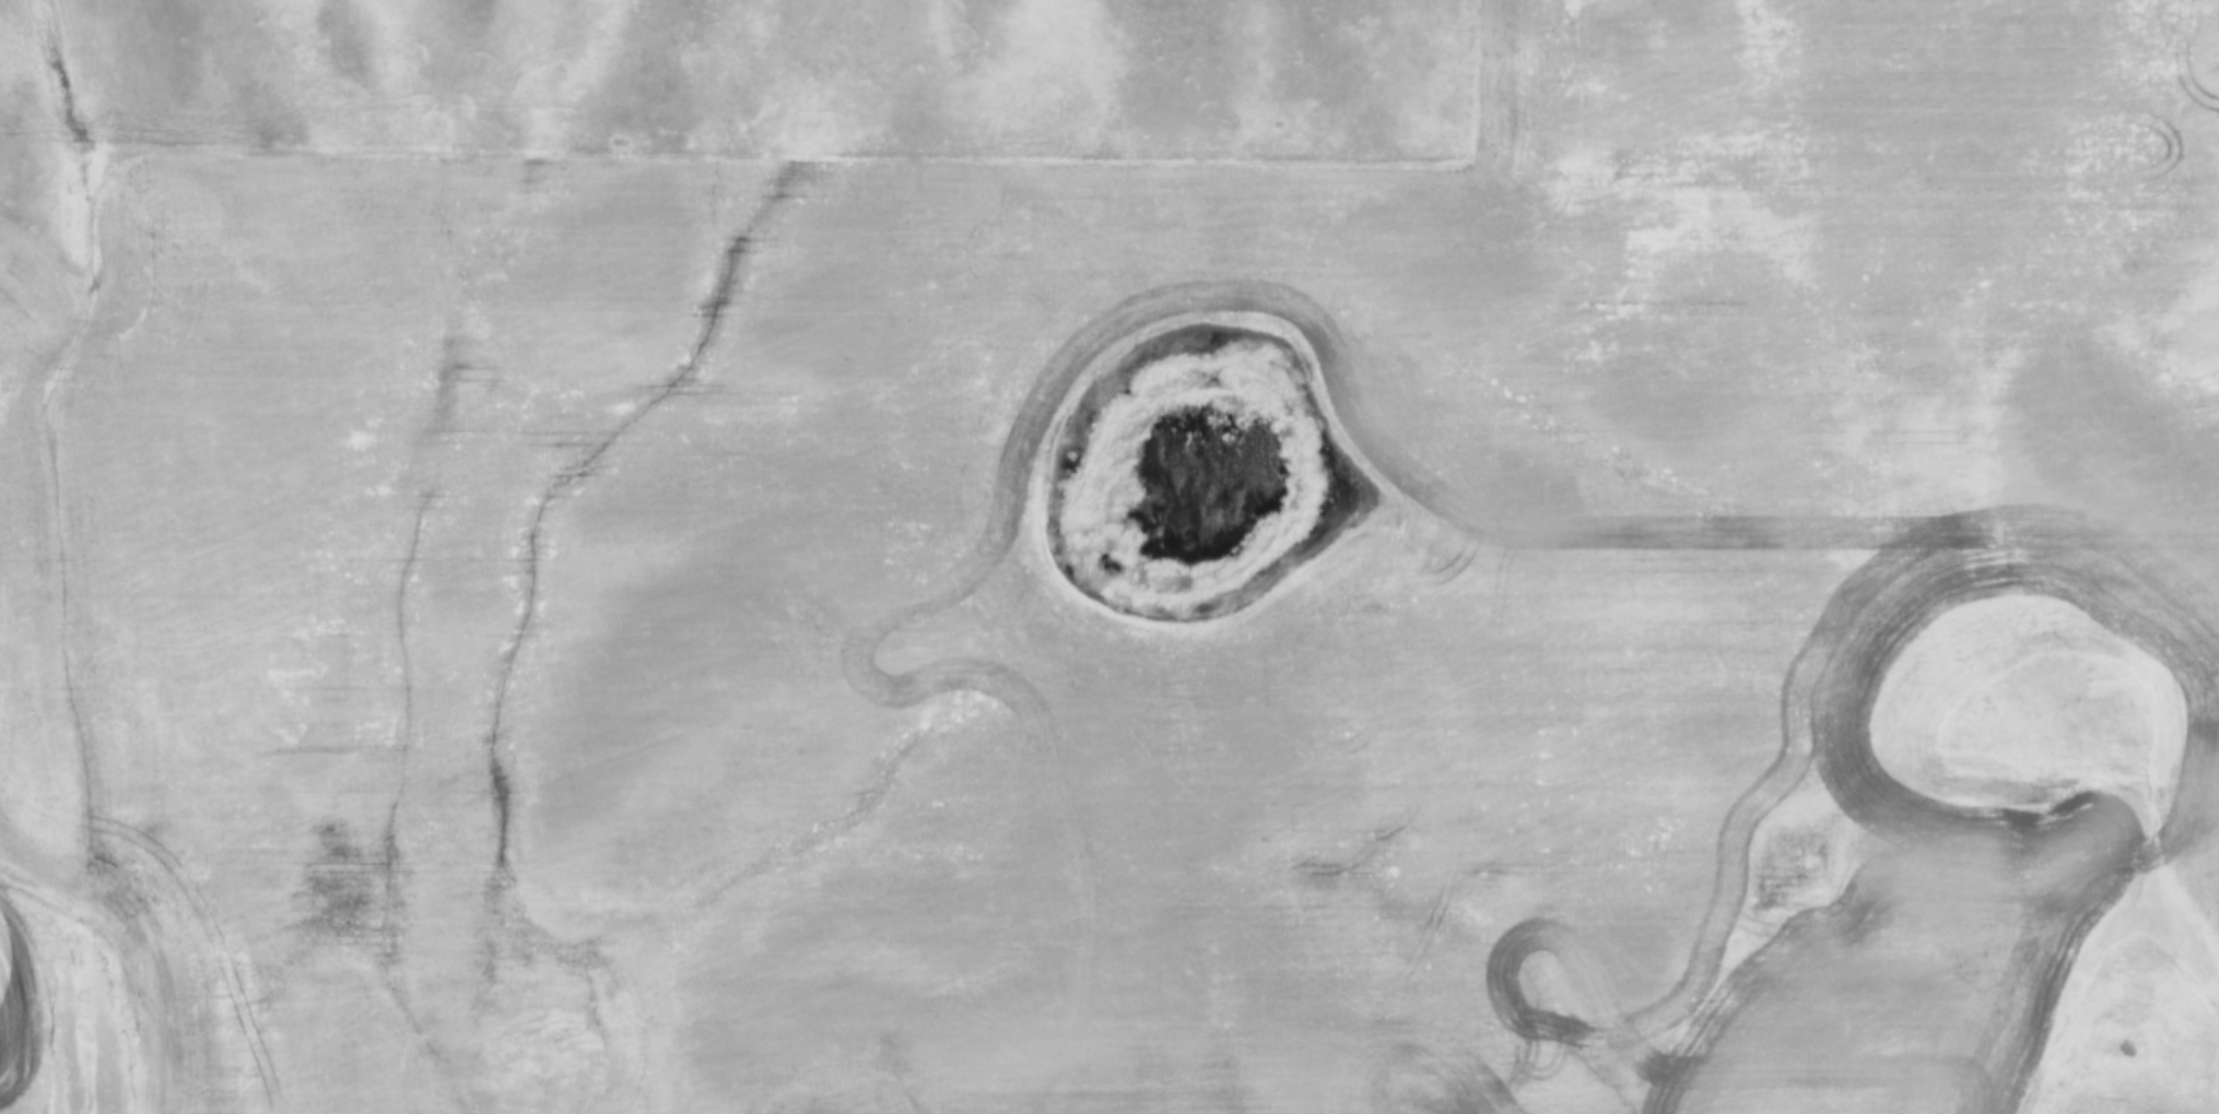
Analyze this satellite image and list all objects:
building: (1816, 475)

